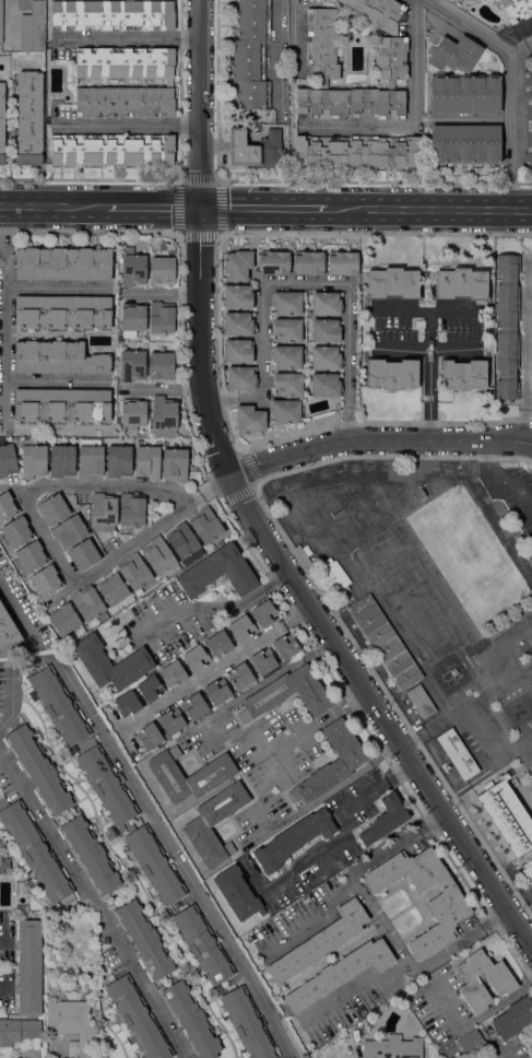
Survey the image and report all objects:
building: (517, 9)
building: (111, 14)
building: (0, 23)
building: (32, 28)
road: (512, 31)
road: (292, 36)
road: (126, 38)
building: (321, 40)
building: (391, 44)
road: (520, 45)
building: (251, 54)
building: (454, 54)
building: (123, 62)
road: (508, 82)
building: (465, 93)
building: (123, 102)
building: (350, 104)
building: (29, 117)
building: (528, 118)
road: (470, 119)
road: (413, 120)
building: (1, 122)
road: (125, 125)
building: (465, 143)
building: (111, 149)
building: (257, 149)
building: (357, 151)
road: (181, 180)
road: (54, 208)
road: (153, 209)
road: (263, 209)
road: (429, 210)
building: (273, 262)
building: (308, 262)
building: (342, 262)
building: (63, 263)
building: (237, 263)
building: (133, 269)
building: (162, 270)
road: (300, 282)
building: (392, 283)
building: (460, 284)
road: (56, 287)
road: (162, 293)
building: (238, 296)
building: (286, 303)
building: (327, 303)
building: (62, 311)
road: (378, 313)
road: (5, 317)
building: (132, 318)
building: (161, 318)
building: (238, 324)
building: (506, 329)
building: (287, 330)
building: (326, 330)
road: (525, 350)
building: (237, 351)
building: (286, 356)
building: (57, 357)
building: (326, 357)
building: (132, 365)
building: (161, 365)
building: (391, 373)
building: (464, 373)
building: (240, 377)
road: (56, 380)
building: (287, 384)
building: (326, 384)
road: (165, 388)
building: (62, 404)
building: (284, 410)
building: (132, 414)
building: (164, 416)
building: (249, 419)
road: (377, 442)
building: (7, 458)
building: (33, 458)
building: (90, 458)
building: (61, 460)
building: (118, 460)
building: (147, 461)
building: (175, 463)
road: (503, 479)
road: (96, 491)
building: (7, 506)
building: (52, 508)
building: (103, 509)
building: (131, 509)
road: (247, 512)
building: (205, 524)
building: (16, 531)
building: (69, 531)
road: (48, 538)
road: (140, 541)
building: (184, 543)
building: (83, 554)
building: (32, 555)
building: (159, 557)
building: (218, 572)
building: (134, 573)
building: (46, 580)
building: (339, 580)
road: (315, 586)
building: (111, 589)
building: (86, 602)
road: (217, 606)
building: (264, 612)
road: (296, 613)
building: (63, 619)
building: (241, 627)
building: (7, 632)
building: (383, 642)
building: (218, 643)
building: (285, 646)
road: (26, 653)
building: (92, 657)
building: (196, 658)
building: (262, 661)
road: (206, 671)
building: (82, 672)
building: (173, 673)
building: (239, 675)
building: (150, 687)
building: (217, 691)
building: (287, 694)
building: (419, 701)
building: (127, 703)
building: (58, 706)
building: (193, 706)
road: (332, 710)
building: (172, 720)
building: (149, 736)
road: (297, 737)
building: (457, 753)
building: (331, 763)
building: (38, 769)
building: (210, 775)
building: (507, 775)
building: (106, 785)
building: (506, 816)
building: (385, 819)
building: (214, 824)
road: (341, 828)
building: (293, 838)
road: (167, 846)
building: (35, 851)
building: (90, 855)
building: (4, 862)
building: (154, 863)
building: (528, 872)
building: (237, 893)
building: (448, 898)
road: (92, 904)
building: (22, 907)
road: (379, 921)
building: (143, 939)
building: (105, 940)
building: (319, 942)
building: (202, 943)
building: (339, 974)
building: (500, 981)
building: (25, 985)
road: (352, 992)
building: (137, 1018)
road: (477, 1018)
building: (512, 1018)
building: (190, 1020)
building: (72, 1023)
building: (248, 1024)
building: (472, 1043)
building: (531, 1046)
building: (393, 1047)

